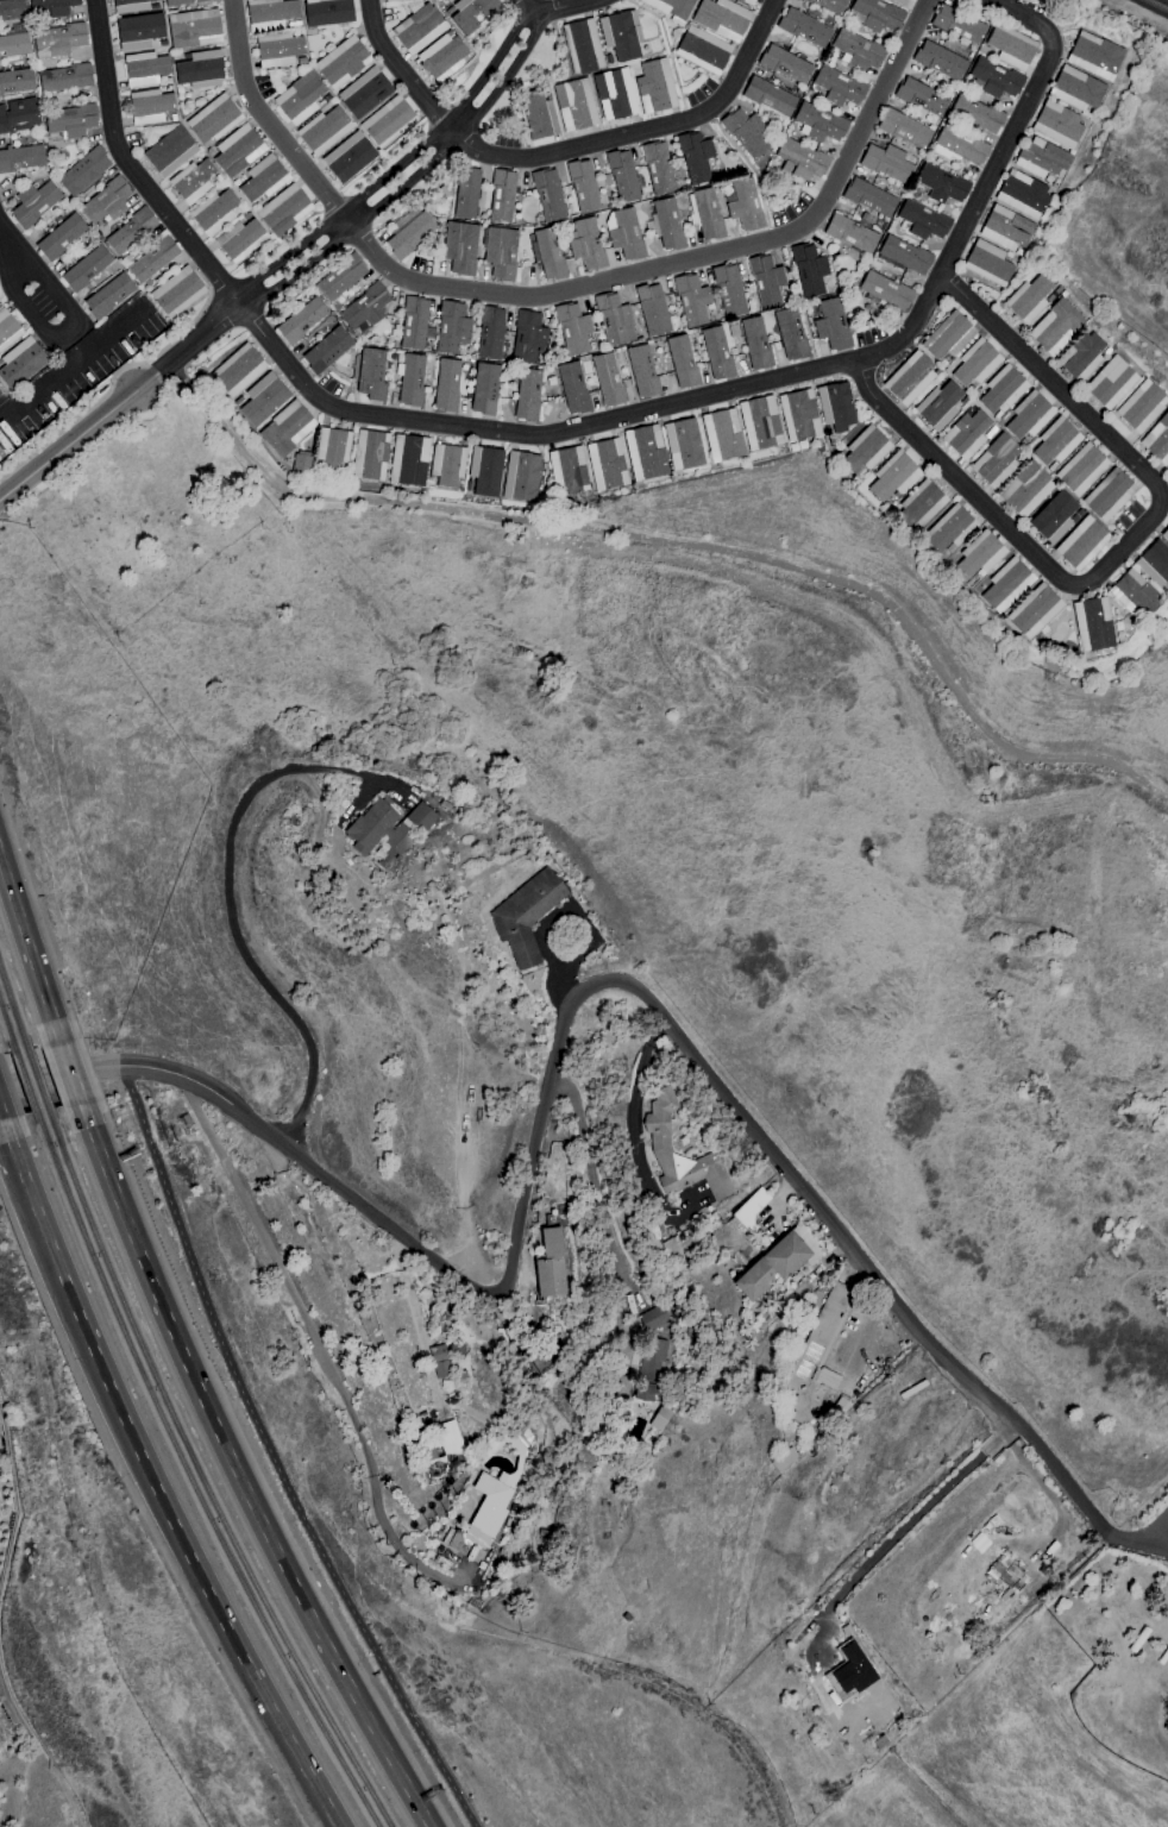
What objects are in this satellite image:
building: (390, 0)
building: (748, 1)
building: (184, 2)
building: (899, 2)
building: (830, 5)
railway: (1156, 5)
building: (54, 6)
building: (131, 6)
road: (558, 8)
building: (671, 8)
building: (12, 10)
building: (327, 12)
parking lot: (385, 13)
building: (473, 13)
building: (270, 14)
building: (875, 14)
road: (530, 17)
building: (722, 18)
building: (294, 24)
building: (957, 24)
building: (419, 27)
building: (803, 27)
building: (194, 29)
building: (139, 31)
building: (676, 33)
building: (620, 36)
building: (59, 40)
building: (14, 45)
building: (583, 46)
building: (1011, 46)
building: (278, 50)
building: (703, 50)
building: (858, 51)
building: (1095, 55)
building: (444, 58)
building: (940, 61)
building: (341, 62)
road: (491, 63)
building: (785, 64)
building: (144, 69)
building: (200, 70)
road: (507, 74)
building: (67, 79)
building: (994, 79)
building: (17, 81)
parking lot: (262, 84)
building: (655, 87)
building: (839, 87)
building: (1076, 90)
parking lot: (698, 92)
building: (364, 93)
building: (615, 94)
building: (768, 96)
building: (921, 96)
building: (300, 98)
building: (324, 100)
building: (574, 105)
building: (150, 106)
building: (978, 114)
building: (19, 115)
building: (538, 115)
building: (214, 119)
building: (71, 120)
building: (388, 121)
building: (820, 123)
building: (1057, 125)
road: (450, 126)
building: (903, 128)
building: (324, 130)
building: (745, 132)
parking lot: (505, 138)
building: (959, 146)
road: (561, 149)
building: (238, 150)
building: (170, 151)
building: (211, 152)
building: (348, 157)
building: (695, 157)
building: (20, 158)
building: (800, 159)
building: (1042, 159)
building: (886, 163)
building: (658, 168)
road: (751, 168)
road: (390, 169)
building: (83, 171)
building: (622, 176)
building: (263, 178)
building: (193, 181)
building: (237, 182)
road: (404, 183)
building: (941, 184)
building: (583, 186)
building: (466, 192)
building: (1023, 194)
building: (502, 195)
building: (548, 195)
building: (868, 197)
building: (107, 201)
building: (34, 203)
building: (746, 206)
building: (284, 209)
parking lot: (790, 209)
building: (214, 212)
building: (705, 214)
building: (246, 215)
road: (345, 220)
building: (923, 220)
building: (668, 225)
building: (649, 227)
building: (1006, 228)
building: (131, 231)
building: (850, 233)
building: (408, 234)
building: (624, 234)
building: (61, 237)
building: (240, 239)
building: (586, 244)
building: (460, 247)
building: (1018, 252)
road: (285, 253)
building: (501, 253)
road: (10, 255)
building: (550, 255)
building: (905, 255)
building: (1010, 256)
building: (153, 259)
building: (988, 263)
parking lot: (419, 264)
road: (300, 268)
building: (86, 269)
building: (809, 270)
building: (341, 277)
building: (766, 280)
road: (565, 288)
building: (729, 290)
building: (885, 290)
building: (1057, 290)
road: (54, 293)
building: (177, 293)
building: (1063, 294)
building: (108, 296)
road: (246, 296)
building: (1029, 299)
building: (1050, 299)
building: (691, 300)
parking lot: (40, 302)
building: (365, 309)
building: (652, 309)
road: (29, 314)
building: (614, 320)
building: (301, 321)
building: (414, 324)
building: (831, 326)
building: (1055, 327)
building: (452, 328)
building: (7, 329)
building: (573, 329)
building: (734, 331)
road: (181, 332)
building: (490, 332)
building: (791, 334)
parking lot: (868, 334)
road: (69, 337)
building: (528, 337)
building: (948, 337)
building: (756, 344)
road: (186, 346)
building: (327, 350)
building: (716, 353)
building: (1081, 357)
building: (682, 362)
building: (20, 363)
building: (975, 363)
building: (238, 370)
parking lot: (76, 371)
building: (642, 372)
building: (372, 375)
building: (910, 378)
building: (412, 379)
building: (608, 379)
building: (1111, 382)
building: (447, 385)
building: (573, 388)
building: (484, 389)
building: (1003, 389)
building: (527, 395)
building: (263, 398)
building: (938, 406)
building: (835, 407)
building: (1142, 407)
road: (79, 414)
building: (798, 415)
building: (1029, 415)
building: (760, 422)
road: (580, 427)
building: (287, 428)
building: (967, 434)
building: (722, 435)
building: (1157, 440)
road: (67, 441)
building: (1056, 441)
building: (683, 444)
building: (333, 450)
building: (865, 450)
building: (1, 454)
building: (645, 454)
building: (371, 456)
building: (409, 460)
building: (996, 460)
building: (302, 462)
building: (607, 464)
building: (447, 465)
building: (1081, 470)
building: (485, 471)
building: (569, 471)
building: (521, 477)
building: (893, 477)
building: (1025, 489)
building: (1109, 495)
building: (921, 506)
parking lot: (1125, 516)
building: (1053, 517)
building: (950, 529)
building: (1164, 534)
building: (1080, 544)
road: (1120, 547)
building: (980, 554)
building: (1154, 564)
building: (1006, 585)
building: (1134, 594)
building: (1035, 611)
building: (1093, 624)
building: (444, 805)
building: (388, 829)
road: (230, 909)
building: (526, 915)
road: (29, 952)
road: (590, 985)
railway: (12, 1012)
railway: (7, 1030)
road: (61, 1073)
road: (69, 1073)
railway: (36, 1079)
railway: (24, 1081)
road: (1, 1116)
building: (183, 1120)
road: (632, 1135)
building: (659, 1139)
road: (11, 1145)
road: (594, 1189)
road: (786, 1194)
building: (751, 1207)
building: (550, 1264)
building: (772, 1266)
building: (676, 1307)
building: (657, 1317)
road: (415, 1325)
road: (862, 1327)
road: (318, 1343)
building: (457, 1348)
building: (818, 1357)
building: (440, 1361)
building: (651, 1368)
building: (461, 1375)
building: (842, 1406)
building: (661, 1418)
building: (444, 1451)
building: (811, 1451)
road: (272, 1458)
building: (483, 1458)
building: (784, 1459)
building: (617, 1463)
road: (236, 1474)
railway: (188, 1477)
railway: (200, 1477)
road: (163, 1507)
building: (482, 1517)
road: (900, 1525)
building: (544, 1533)
road: (1158, 1534)
parking lot: (1153, 1537)
road: (1130, 1540)
road: (1158, 1549)
building: (627, 1618)
building: (843, 1622)
building: (846, 1630)
building: (1136, 1639)
building: (1162, 1655)
building: (850, 1671)
building: (1164, 1731)
building: (880, 1743)

